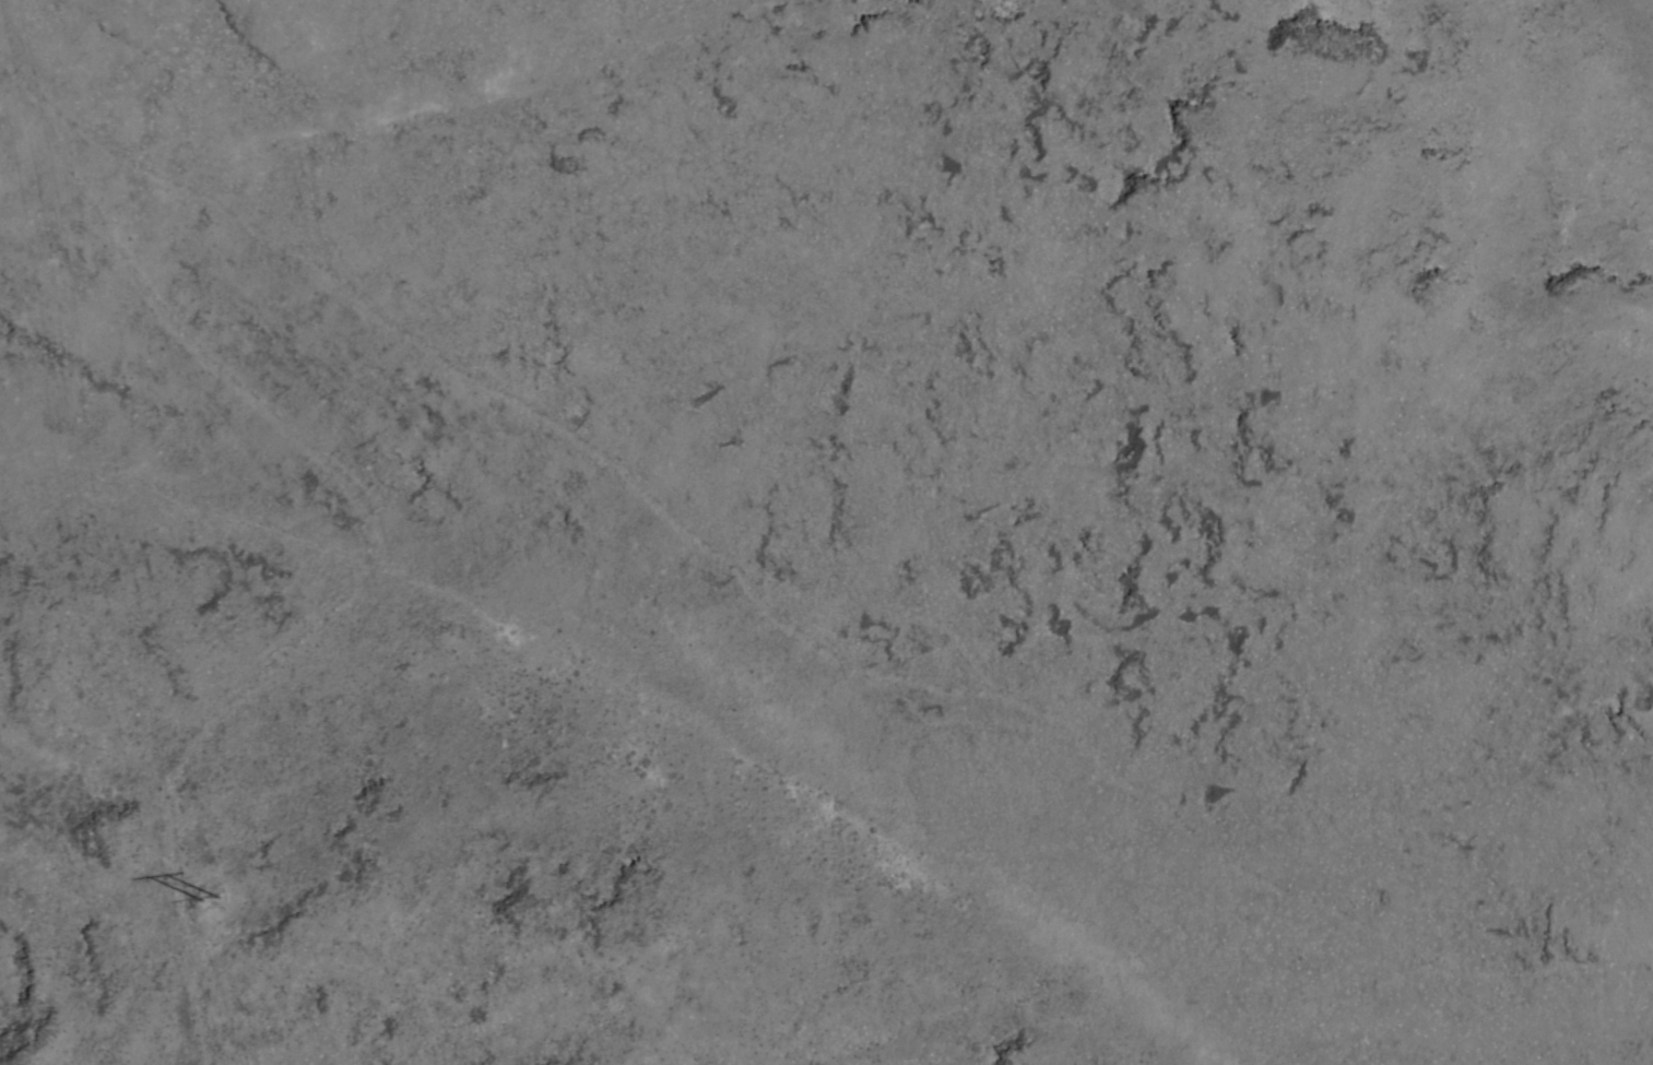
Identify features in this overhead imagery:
power tower: (206, 898)

